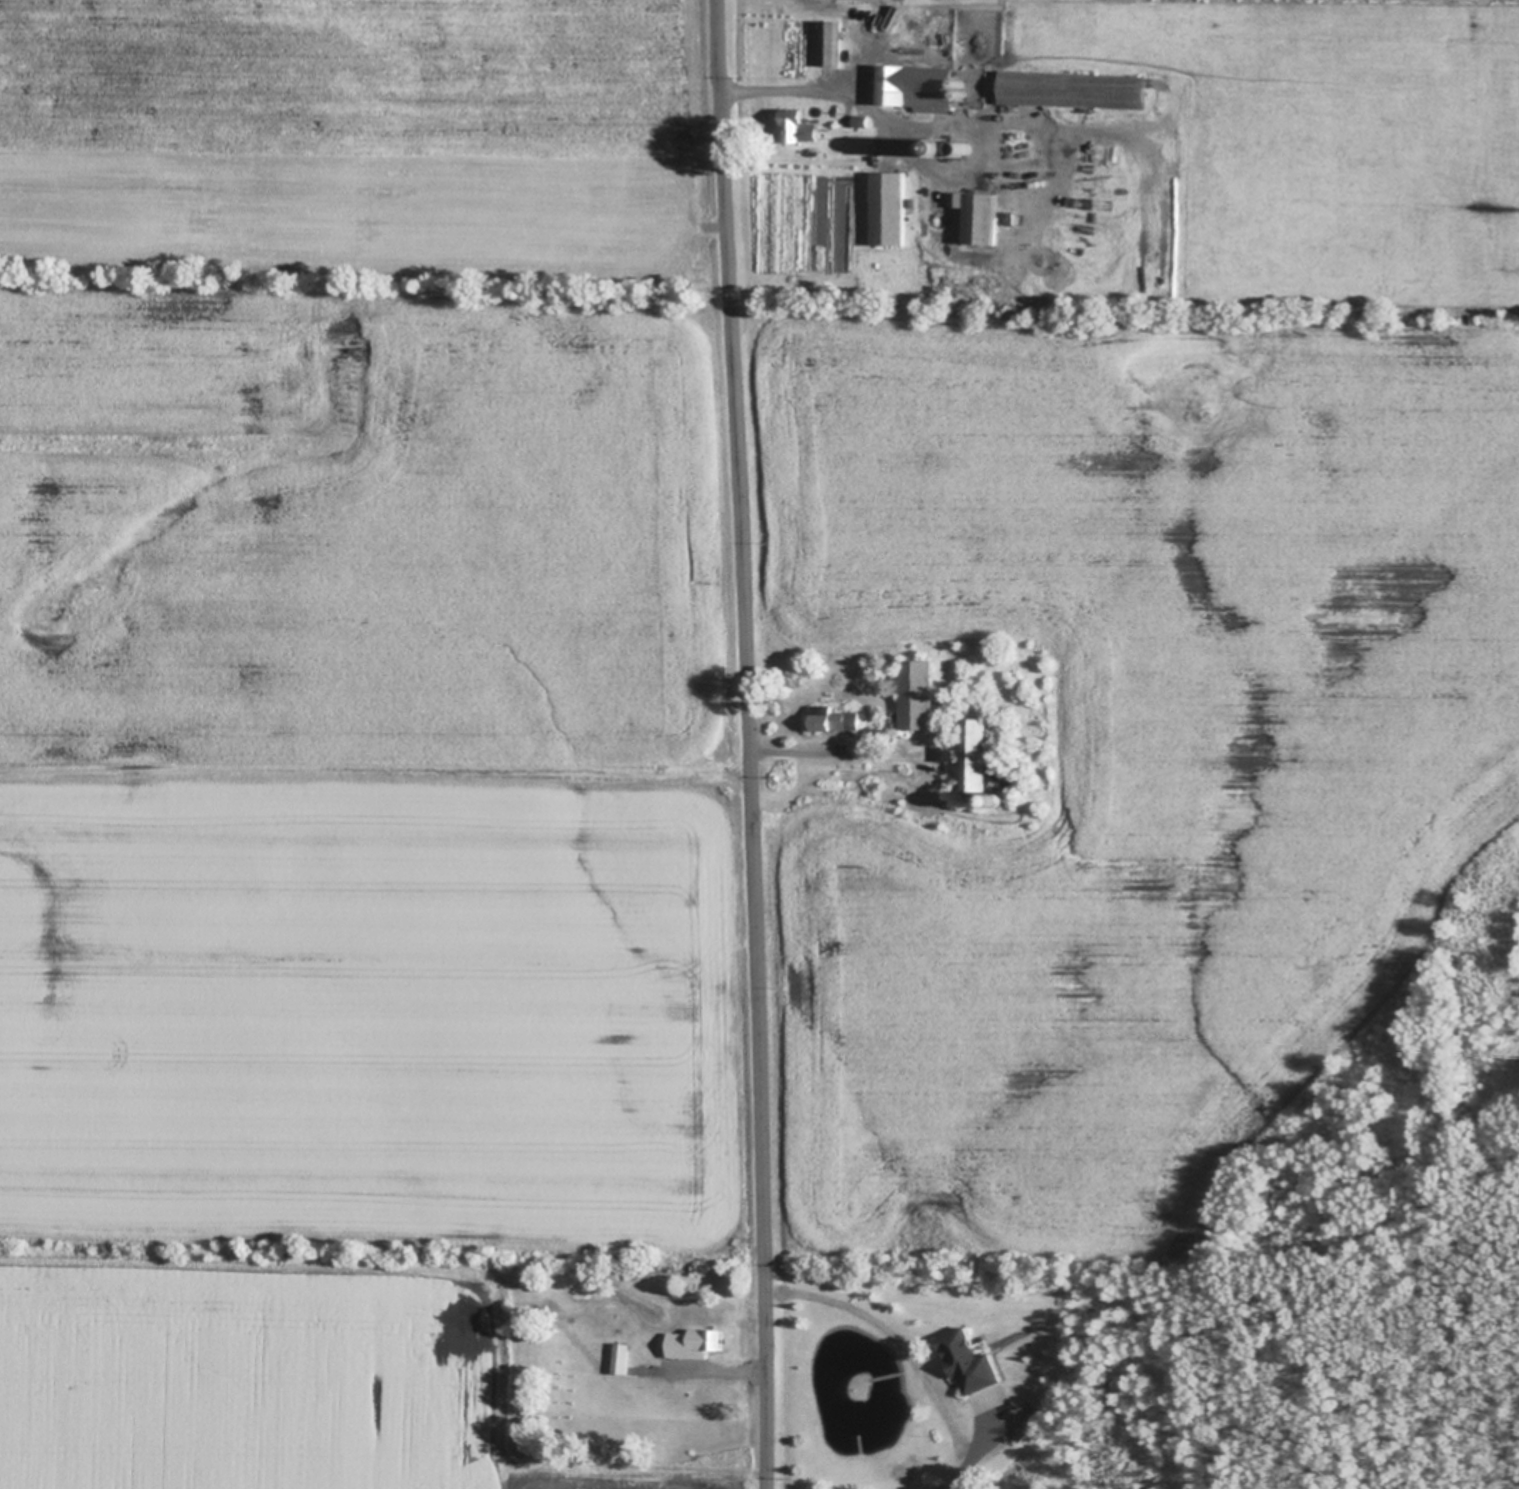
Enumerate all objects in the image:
building: (833, 44)
building: (919, 88)
building: (1077, 90)
building: (863, 121)
building: (799, 125)
building: (948, 147)
building: (967, 150)
building: (890, 209)
building: (982, 219)
building: (920, 695)
building: (835, 718)
road: (753, 744)
building: (985, 759)
building: (986, 797)
building: (1000, 801)
building: (1110, 1311)
building: (701, 1339)
building: (625, 1357)
building: (969, 1360)
road: (969, 1461)

